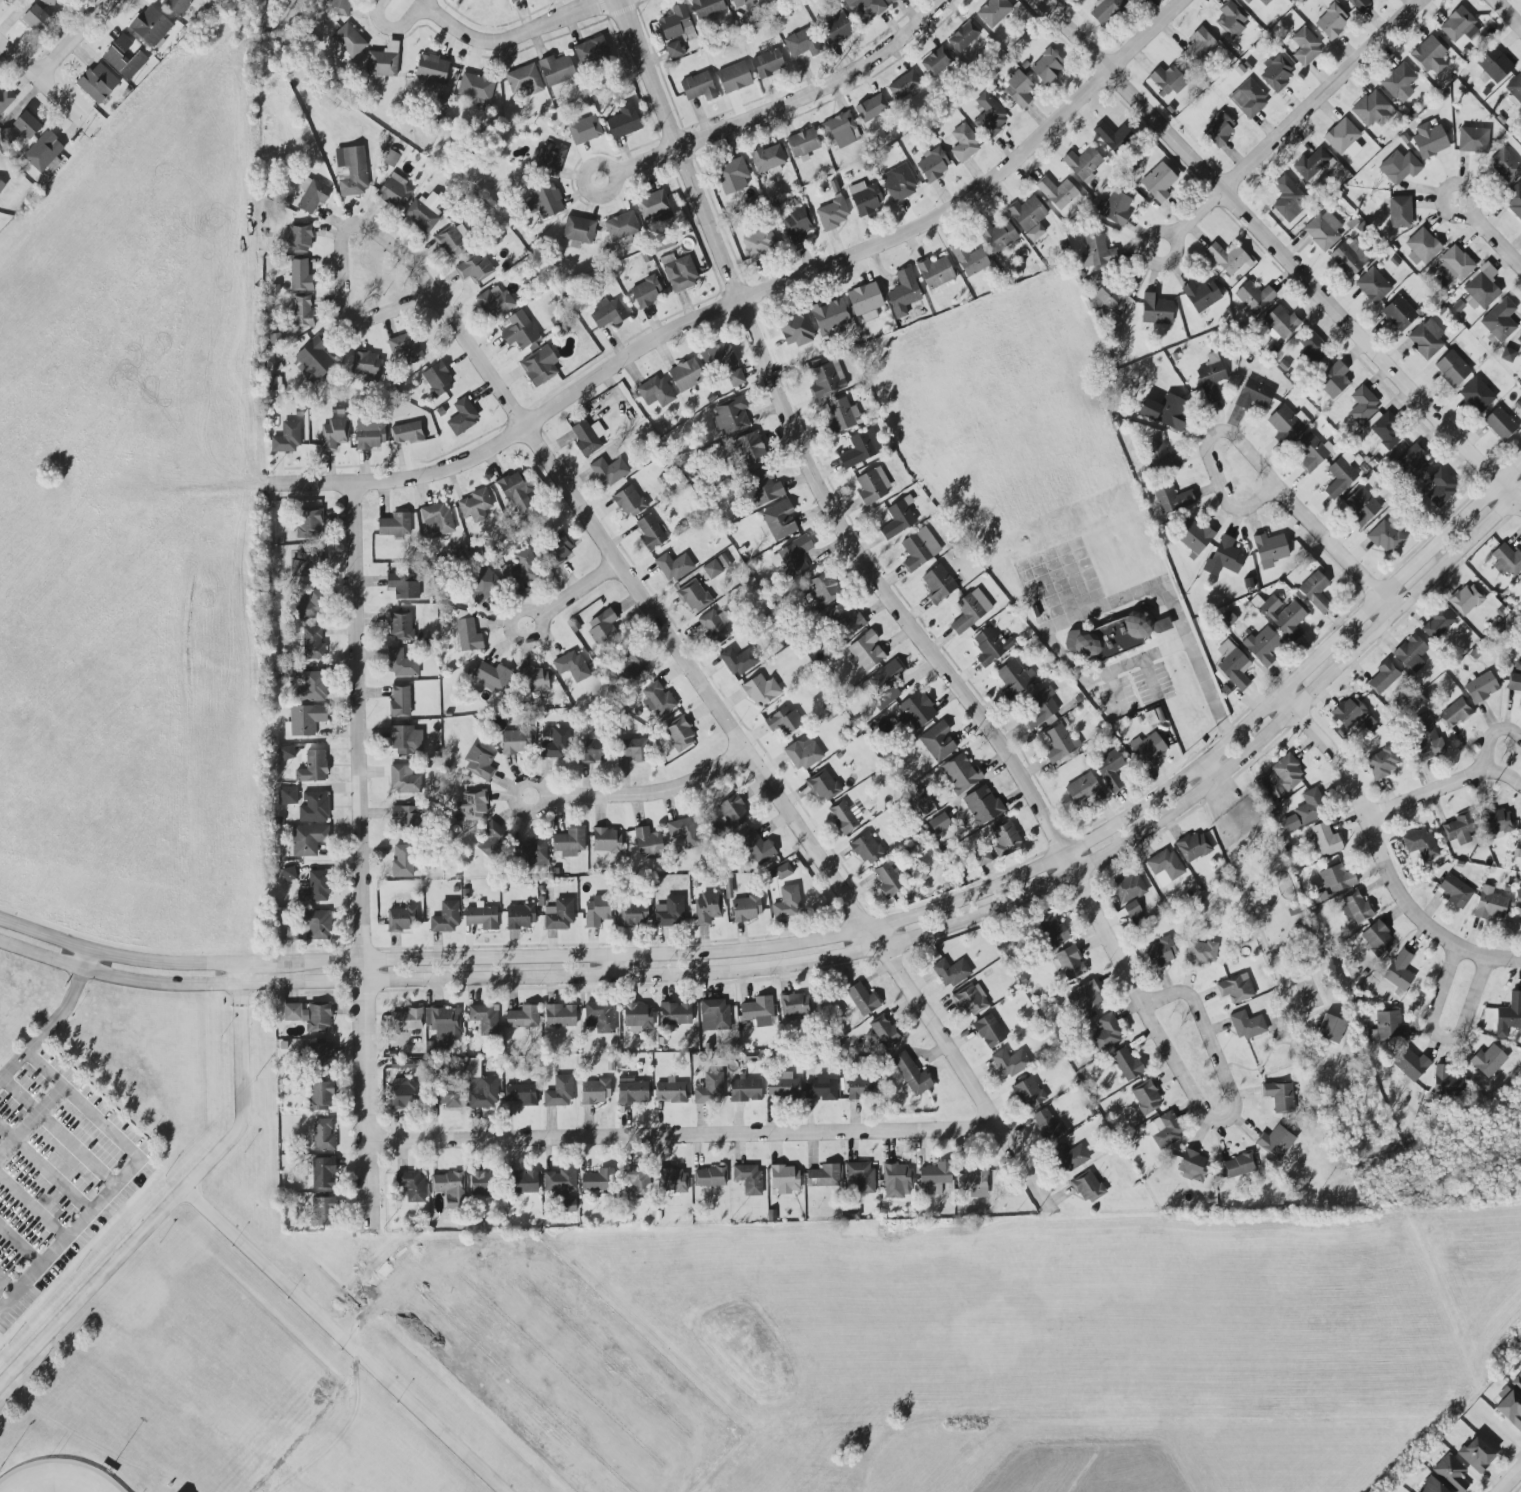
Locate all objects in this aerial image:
building: (2, 0)
building: (513, 0)
building: (892, 1)
building: (1247, 1)
building: (50, 2)
road: (422, 2)
building: (742, 2)
building: (1264, 2)
building: (1360, 4)
building: (176, 6)
building: (339, 7)
building: (706, 8)
building: (865, 9)
building: (1106, 10)
building: (993, 12)
road: (1508, 13)
building: (36, 19)
building: (1231, 19)
building: (1331, 21)
building: (675, 23)
building: (1458, 25)
building: (151, 27)
building: (836, 27)
road: (392, 29)
building: (963, 36)
road: (513, 37)
road: (73, 38)
building: (346, 43)
building: (802, 43)
building: (1199, 46)
building: (1305, 47)
building: (674, 50)
building: (591, 52)
building: (1429, 56)
building: (123, 58)
building: (383, 61)
building: (936, 62)
building: (768, 63)
building: (1494, 64)
building: (1047, 67)
building: (431, 69)
building: (556, 70)
building: (1277, 73)
building: (733, 77)
building: (524, 80)
building: (1167, 80)
building: (1399, 82)
building: (97, 83)
building: (696, 85)
building: (904, 85)
road: (47, 86)
building: (476, 87)
building: (1515, 87)
building: (1019, 89)
building: (1248, 99)
building: (5, 100)
road: (787, 101)
building: (871, 107)
building: (1372, 109)
building: (989, 116)
road: (1295, 118)
building: (623, 122)
building: (26, 125)
building: (1219, 129)
building: (584, 130)
building: (841, 131)
building: (1112, 136)
building: (1343, 138)
building: (1429, 140)
building: (1473, 140)
building: (964, 143)
building: (802, 144)
building: (43, 151)
building: (768, 158)
building: (390, 159)
building: (550, 160)
building: (933, 164)
building: (1083, 164)
building: (1315, 164)
road: (591, 165)
building: (1505, 165)
building: (1399, 167)
building: (351, 171)
building: (732, 175)
building: (1158, 182)
building: (898, 183)
road: (1451, 183)
building: (1, 185)
building: (394, 191)
building: (1057, 193)
building: (312, 195)
building: (865, 197)
building: (1513, 200)
building: (1289, 201)
building: (544, 202)
building: (655, 206)
building: (1114, 208)
building: (424, 212)
building: (1400, 212)
building: (832, 214)
building: (1028, 217)
building: (797, 225)
building: (622, 226)
building: (578, 230)
building: (1323, 230)
road: (1154, 233)
building: (997, 235)
road: (1494, 238)
building: (297, 239)
building: (451, 241)
building: (759, 243)
building: (1421, 247)
building: (1097, 251)
road: (1282, 254)
building: (1349, 257)
building: (1227, 258)
building: (968, 259)
building: (1456, 263)
building: (475, 267)
building: (935, 272)
building: (680, 274)
building: (300, 275)
building: (1372, 285)
building: (1481, 288)
building: (646, 292)
building: (903, 293)
road: (750, 294)
building: (1112, 295)
building: (1201, 295)
building: (1254, 297)
building: (865, 301)
road: (341, 302)
building: (495, 303)
building: (1156, 310)
building: (302, 312)
building: (608, 313)
building: (1399, 313)
building: (830, 316)
building: (1499, 320)
building: (1280, 323)
building: (796, 330)
building: (519, 331)
building: (1426, 339)
building: (1312, 348)
building: (404, 349)
building: (1507, 355)
building: (718, 358)
building: (314, 359)
building: (366, 364)
building: (539, 365)
building: (1451, 368)
building: (686, 375)
building: (735, 378)
building: (826, 379)
building: (1211, 379)
building: (437, 380)
building: (1333, 380)
building: (655, 392)
building: (1254, 395)
building: (1476, 395)
building: (1362, 404)
building: (1165, 411)
building: (731, 415)
building: (838, 415)
building: (462, 416)
building: (1286, 423)
building: (1499, 423)
building: (1385, 429)
building: (407, 433)
building: (333, 434)
building: (370, 436)
building: (587, 437)
building: (287, 438)
building: (861, 448)
building: (750, 449)
building: (1312, 451)
road: (1208, 454)
building: (1160, 457)
building: (1412, 461)
building: (608, 471)
building: (1340, 477)
building: (872, 485)
building: (763, 486)
building: (1441, 486)
building: (515, 491)
building: (1172, 499)
building: (629, 502)
building: (475, 505)
building: (1360, 506)
building: (898, 518)
building: (437, 519)
building: (778, 521)
building: (308, 523)
road: (838, 524)
building: (394, 525)
building: (650, 533)
building: (1195, 537)
building: (1384, 538)
road: (1334, 547)
building: (1270, 548)
building: (919, 549)
building: (557, 551)
building: (795, 556)
building: (1224, 557)
building: (1506, 560)
building: (673, 566)
building: (301, 568)
building: (521, 569)
building: (482, 584)
building: (938, 584)
building: (403, 586)
road: (1085, 586)
building: (823, 587)
road: (578, 590)
building: (1315, 591)
building: (694, 596)
building: (1465, 599)
building: (309, 606)
road: (1097, 609)
building: (970, 610)
road: (516, 612)
building: (1283, 617)
building: (845, 619)
building: (1438, 624)
building: (401, 625)
building: (714, 626)
building: (602, 627)
building: (467, 633)
building: (1115, 635)
building: (313, 644)
building: (1262, 646)
building: (990, 647)
building: (865, 652)
building: (1411, 653)
building: (739, 660)
building: (400, 664)
building: (632, 664)
building: (1233, 665)
building: (571, 666)
building: (492, 676)
building: (1383, 677)
building: (1014, 678)
building: (534, 680)
building: (1514, 682)
building: (883, 685)
building: (311, 686)
building: (1480, 687)
building: (761, 690)
building: (400, 700)
building: (657, 700)
building: (1040, 708)
building: (916, 711)
building: (1349, 712)
building: (1454, 713)
building: (304, 720)
building: (783, 720)
building: (1367, 723)
building: (679, 734)
road: (1489, 737)
building: (1425, 738)
building: (405, 740)
building: (515, 741)
building: (937, 741)
building: (1059, 743)
building: (557, 744)
building: (632, 749)
building: (1147, 749)
road: (745, 750)
building: (591, 751)
building: (286, 753)
building: (803, 753)
building: (1382, 762)
building: (479, 763)
building: (313, 767)
building: (1109, 770)
road: (1207, 772)
building: (961, 773)
road: (1499, 773)
building: (1283, 774)
building: (403, 779)
road: (519, 783)
building: (823, 786)
building: (1083, 789)
road: (650, 792)
road: (1419, 794)
building: (287, 795)
building: (473, 805)
building: (982, 805)
building: (1310, 806)
building: (314, 807)
building: (732, 809)
building: (406, 817)
building: (843, 818)
road: (1366, 822)
building: (939, 823)
building: (1497, 823)
building: (1458, 829)
building: (686, 832)
building: (1519, 836)
building: (1005, 838)
building: (308, 839)
building: (1326, 839)
building: (491, 840)
building: (607, 841)
building: (569, 842)
building: (648, 843)
building: (1419, 846)
building: (1193, 847)
building: (757, 848)
building: (865, 849)
building: (532, 852)
road: (359, 855)
building: (982, 857)
building: (402, 861)
building: (1164, 867)
building: (782, 871)
building: (288, 874)
building: (1337, 878)
building: (889, 880)
building: (316, 887)
building: (728, 888)
building: (1128, 888)
building: (1455, 891)
building: (787, 903)
building: (1518, 903)
building: (1489, 904)
building: (1134, 907)
building: (1355, 907)
building: (707, 908)
building: (746, 909)
building: (597, 911)
building: (634, 914)
building: (668, 914)
building: (559, 915)
building: (520, 916)
building: (481, 917)
building: (401, 918)
building: (445, 918)
building: (317, 925)
building: (1051, 931)
building: (290, 934)
road: (837, 934)
building: (1376, 939)
building: (1160, 952)
building: (1200, 953)
road: (834, 957)
road: (1487, 958)
building: (1068, 963)
road: (611, 965)
building: (1399, 971)
building: (951, 972)
building: (1235, 988)
building: (1084, 999)
building: (859, 1000)
building: (970, 1000)
building: (795, 1005)
building: (758, 1012)
building: (675, 1014)
building: (310, 1015)
building: (714, 1015)
building: (1509, 1015)
building: (560, 1016)
building: (523, 1017)
building: (599, 1017)
building: (638, 1017)
building: (407, 1019)
building: (484, 1019)
road: (54, 1020)
building: (443, 1023)
building: (1246, 1025)
building: (1388, 1026)
building: (1331, 1029)
building: (988, 1031)
building: (882, 1032)
building: (1106, 1032)
road: (1441, 1038)
building: (322, 1055)
building: (751, 1056)
building: (1488, 1061)
building: (1009, 1063)
building: (404, 1064)
building: (1127, 1064)
building: (1411, 1064)
building: (911, 1075)
building: (1448, 1080)
building: (783, 1086)
building: (480, 1087)
building: (821, 1088)
building: (860, 1088)
building: (710, 1089)
building: (745, 1090)
building: (595, 1091)
building: (631, 1091)
building: (559, 1092)
building: (670, 1092)
building: (1028, 1093)
building: (520, 1094)
building: (320, 1096)
building: (403, 1096)
building: (1279, 1096)
building: (1145, 1097)
building: (447, 1098)
road: (1234, 1103)
road: (31, 1121)
building: (1048, 1125)
building: (1164, 1130)
road: (57, 1132)
road: (681, 1134)
building: (323, 1135)
building: (1275, 1142)
building: (1069, 1157)
building: (1192, 1165)
building: (1239, 1165)
road: (44, 1169)
building: (323, 1173)
building: (823, 1176)
building: (861, 1176)
building: (709, 1177)
building: (935, 1177)
road: (120, 1178)
building: (748, 1178)
building: (784, 1179)
building: (673, 1180)
building: (559, 1181)
building: (598, 1181)
building: (636, 1181)
building: (897, 1181)
building: (524, 1182)
building: (973, 1183)
building: (481, 1184)
building: (410, 1186)
building: (1087, 1187)
building: (449, 1189)
road: (177, 1197)
building: (568, 1205)
road: (33, 1207)
building: (322, 1211)
road: (21, 1246)
road: (9, 1283)
road: (345, 1340)
building: (1517, 1383)
building: (1509, 1407)
building: (1476, 1455)
building: (1450, 1473)
park: (55, 1477)
road: (1509, 1479)
building: (1430, 1486)

